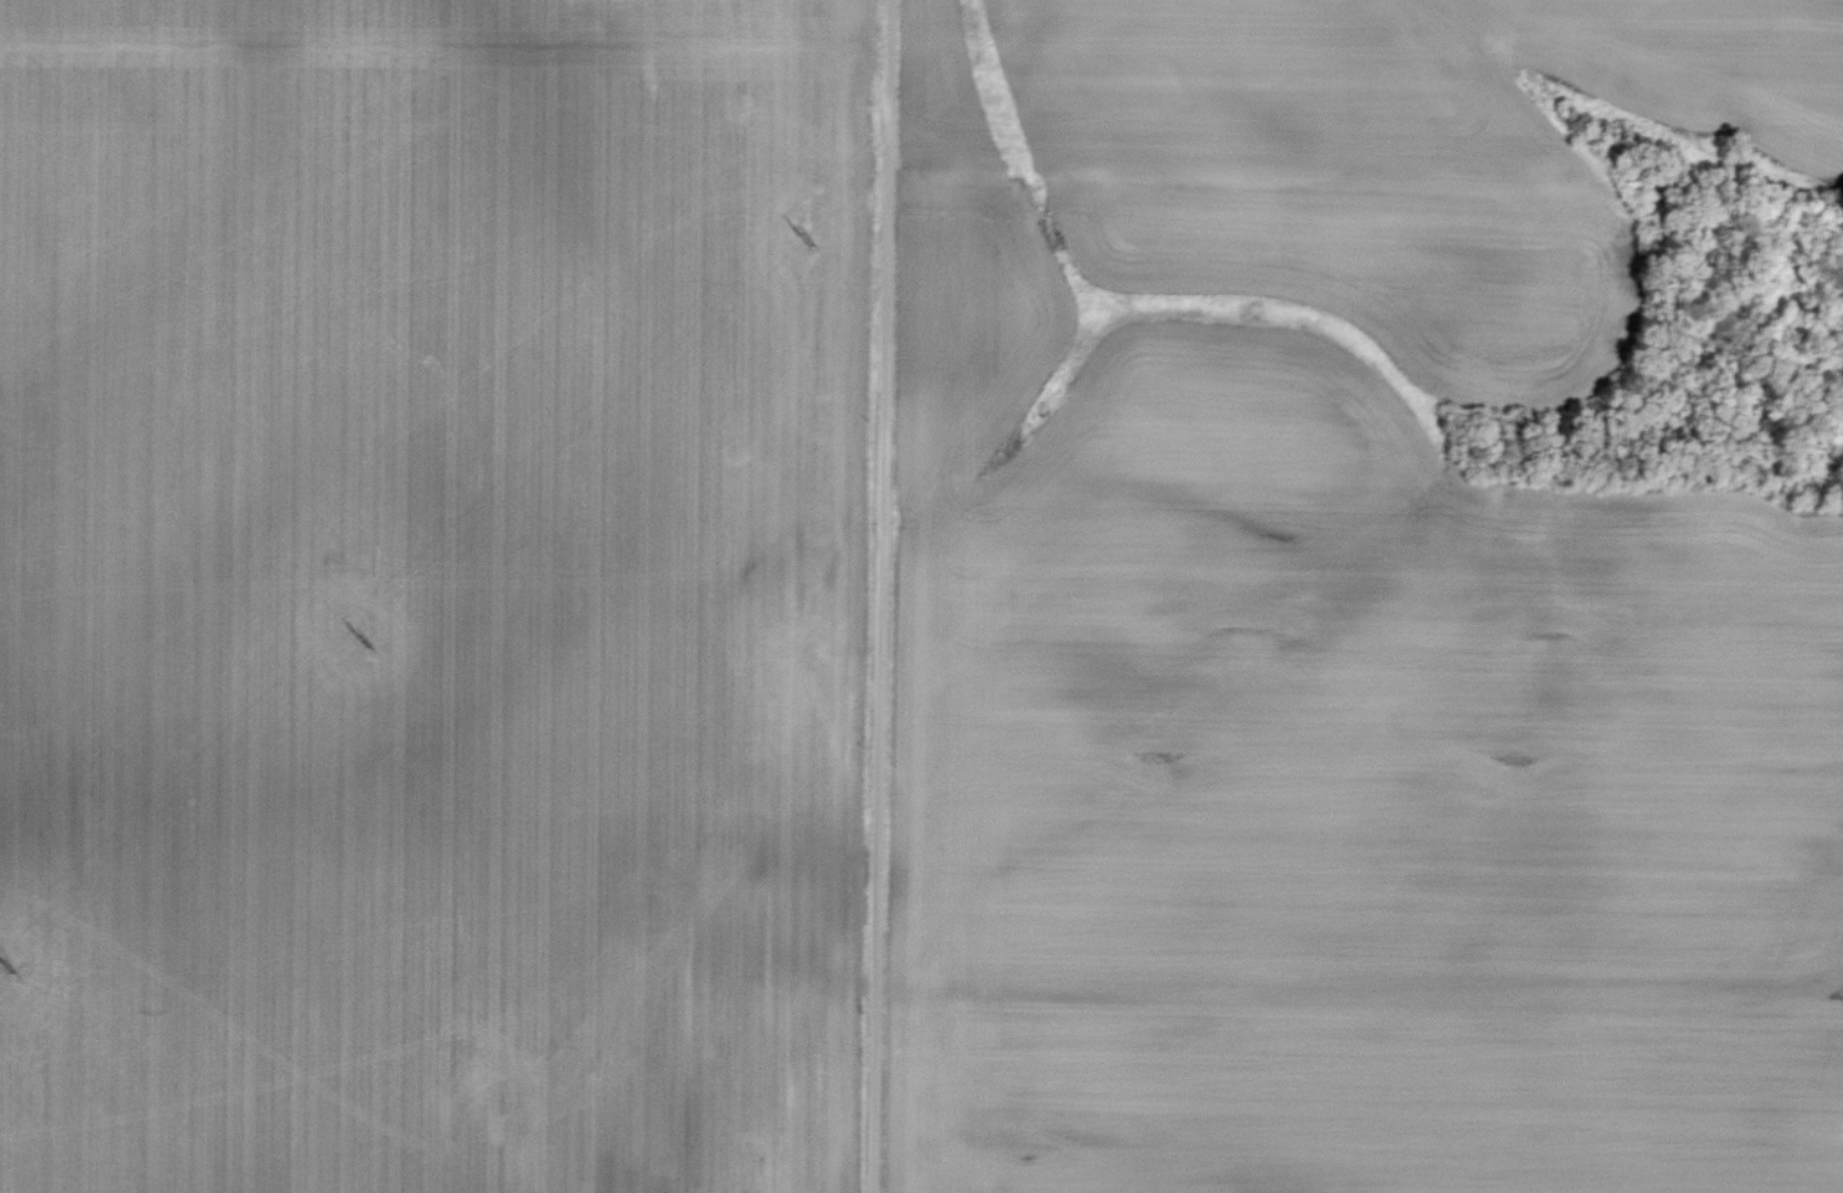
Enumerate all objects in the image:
power tower: (804, 240)
road: (880, 596)
power tower: (364, 643)
power tower: (4, 968)

